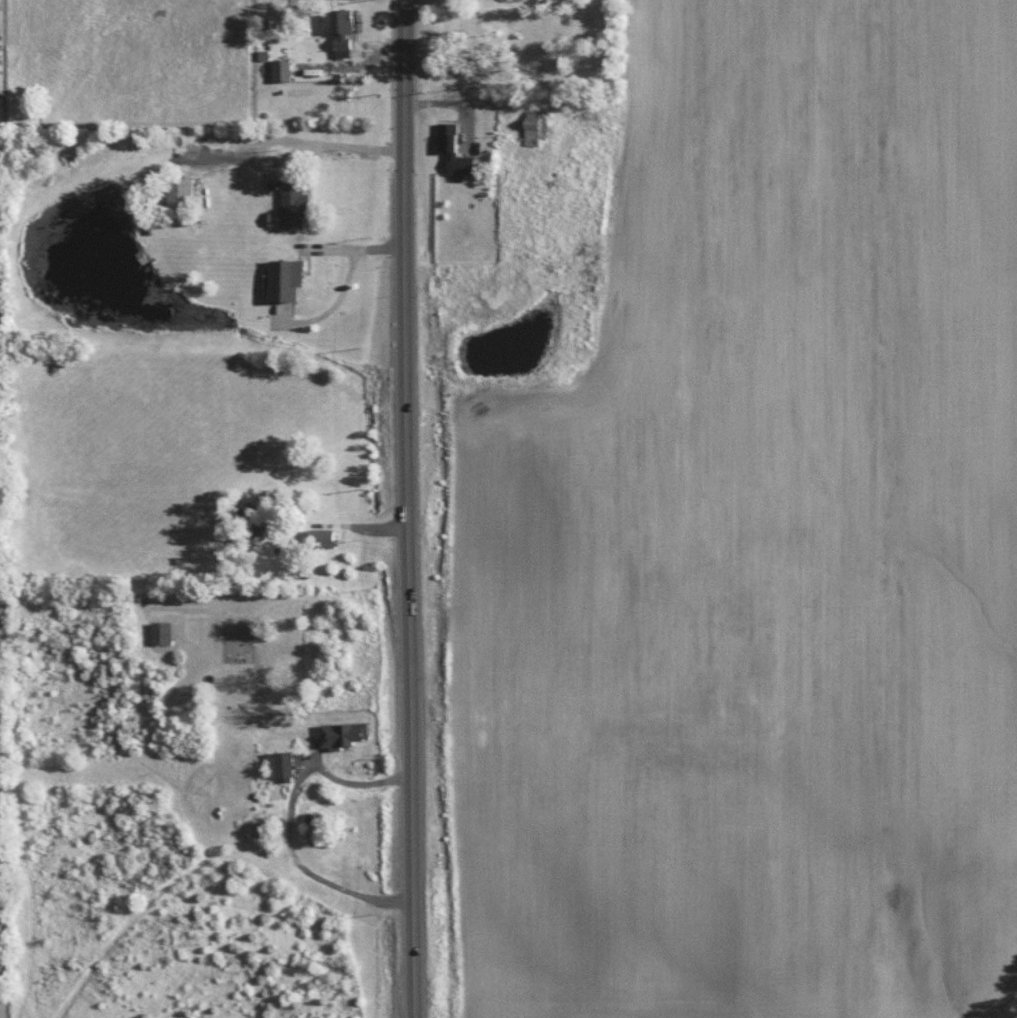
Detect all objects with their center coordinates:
building: (347, 35)
building: (285, 70)
building: (537, 127)
road: (354, 147)
building: (299, 198)
building: (291, 279)
road: (409, 509)
building: (165, 632)
building: (340, 732)
building: (279, 764)
road: (290, 817)

